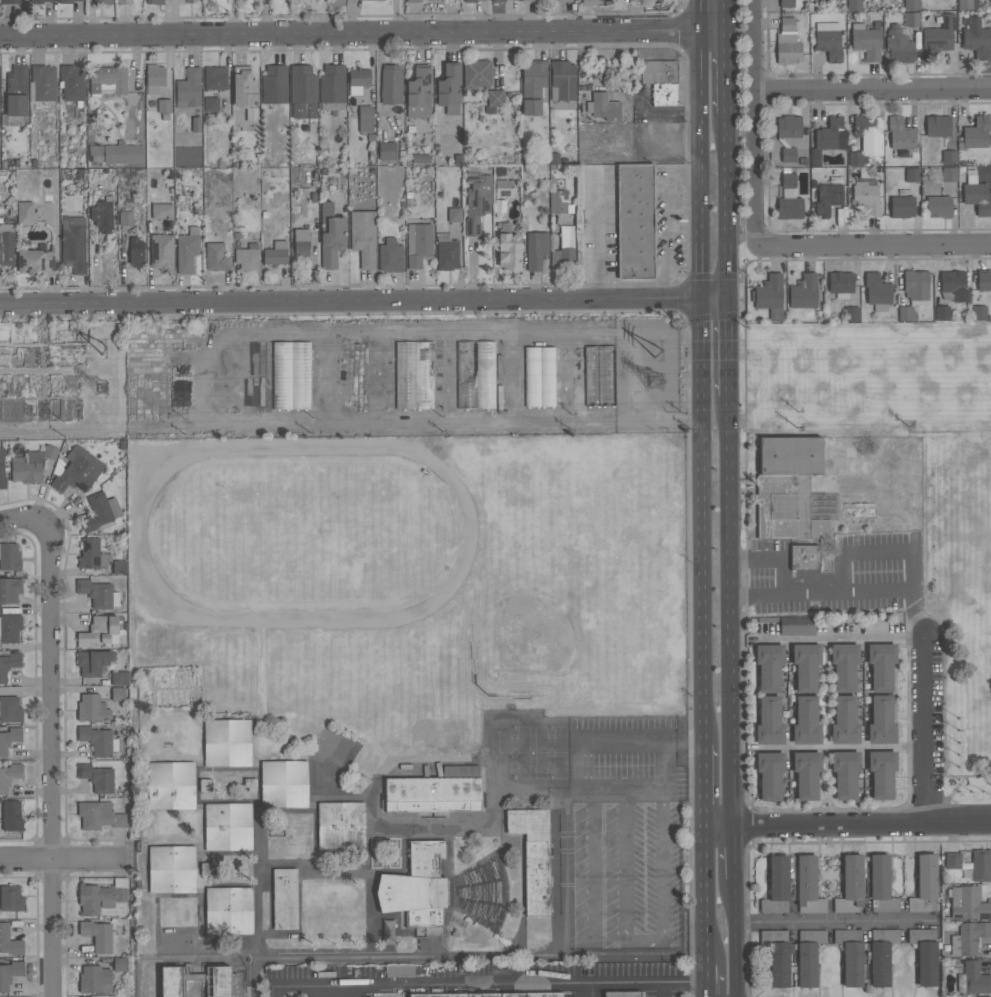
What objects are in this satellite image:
building: (380, 0)
building: (436, 0)
building: (498, 0)
building: (529, 0)
building: (564, 0)
building: (832, 0)
building: (11, 1)
building: (39, 1)
building: (65, 1)
building: (189, 1)
building: (413, 1)
building: (470, 1)
building: (102, 2)
building: (124, 2)
building: (155, 2)
building: (589, 2)
building: (786, 3)
building: (911, 4)
building: (967, 4)
road: (726, 16)
building: (911, 19)
building: (788, 24)
road: (362, 34)
building: (938, 36)
building: (976, 37)
building: (828, 40)
building: (866, 41)
building: (898, 45)
building: (787, 47)
road: (726, 72)
building: (476, 73)
road: (843, 74)
building: (154, 78)
building: (215, 78)
building: (107, 80)
building: (358, 80)
building: (660, 80)
building: (42, 83)
building: (72, 83)
building: (274, 84)
building: (391, 84)
building: (563, 84)
road: (700, 84)
building: (533, 85)
road: (870, 85)
building: (244, 87)
building: (332, 87)
building: (188, 88)
building: (449, 88)
building: (16, 90)
building: (303, 91)
building: (418, 93)
building: (495, 97)
building: (211, 104)
building: (164, 106)
building: (603, 107)
building: (251, 114)
building: (365, 119)
road: (751, 123)
building: (195, 124)
building: (937, 125)
building: (788, 126)
building: (976, 132)
building: (868, 133)
building: (900, 133)
building: (805, 138)
building: (828, 139)
building: (386, 151)
building: (123, 153)
building: (788, 154)
building: (949, 157)
building: (856, 158)
building: (912, 174)
building: (948, 174)
building: (504, 188)
building: (975, 193)
building: (789, 196)
building: (828, 196)
building: (866, 196)
building: (477, 199)
building: (558, 201)
road: (727, 206)
building: (902, 206)
building: (938, 206)
building: (162, 210)
building: (25, 213)
building: (454, 215)
building: (102, 216)
building: (126, 218)
building: (635, 221)
road: (671, 222)
road: (701, 234)
building: (331, 235)
road: (598, 236)
building: (363, 237)
building: (301, 242)
building: (6, 244)
building: (73, 244)
building: (418, 244)
road: (874, 244)
building: (564, 247)
building: (536, 249)
building: (187, 250)
building: (136, 251)
building: (161, 251)
building: (509, 251)
building: (275, 253)
building: (246, 254)
building: (447, 254)
building: (390, 255)
building: (216, 257)
building: (35, 262)
building: (984, 279)
building: (840, 283)
building: (916, 286)
building: (953, 286)
building: (877, 291)
building: (803, 292)
building: (769, 296)
road: (687, 300)
traffic signals: (703, 300)
road: (716, 300)
road: (335, 301)
traffic signals: (729, 301)
building: (979, 312)
road: (343, 313)
building: (906, 313)
building: (942, 313)
building: (851, 314)
road: (713, 316)
power tower: (105, 347)
road: (729, 347)
power tower: (659, 348)
road: (330, 372)
building: (291, 375)
building: (414, 375)
building: (476, 375)
building: (539, 377)
power tower: (659, 381)
power tower: (102, 389)
building: (31, 464)
building: (2, 468)
building: (75, 470)
building: (792, 491)
park: (879, 495)
building: (100, 511)
road: (729, 518)
road: (704, 521)
road: (22, 525)
building: (92, 554)
building: (10, 557)
building: (804, 557)
road: (772, 558)
building: (9, 589)
road: (895, 592)
building: (98, 593)
road: (742, 606)
building: (9, 628)
building: (795, 629)
building: (100, 631)
road: (840, 639)
road: (896, 660)
building: (93, 661)
building: (9, 664)
building: (881, 665)
building: (805, 666)
building: (844, 666)
building: (769, 667)
building: (119, 678)
building: (118, 693)
road: (895, 700)
road: (825, 704)
building: (92, 708)
building: (10, 709)
building: (806, 721)
building: (844, 721)
building: (881, 721)
building: (769, 722)
road: (899, 731)
road: (931, 731)
road: (945, 731)
road: (730, 736)
building: (9, 738)
road: (641, 738)
building: (99, 740)
building: (226, 742)
road: (846, 747)
road: (48, 760)
road: (898, 769)
building: (845, 773)
building: (881, 773)
building: (806, 774)
building: (9, 775)
building: (769, 775)
road: (978, 776)
building: (97, 777)
building: (284, 784)
building: (171, 785)
road: (706, 786)
road: (901, 787)
road: (647, 788)
building: (435, 790)
road: (820, 790)
road: (831, 791)
road: (753, 797)
building: (11, 815)
building: (98, 815)
building: (227, 826)
building: (340, 826)
road: (848, 826)
road: (733, 853)
building: (533, 855)
road: (58, 859)
road: (592, 859)
building: (952, 860)
building: (980, 864)
building: (172, 869)
building: (924, 884)
building: (808, 885)
building: (850, 885)
building: (880, 885)
building: (416, 886)
building: (777, 886)
building: (101, 895)
road: (709, 896)
building: (11, 898)
building: (284, 899)
building: (968, 903)
building: (228, 910)
road: (839, 921)
building: (97, 935)
road: (737, 937)
building: (969, 937)
road: (645, 938)
building: (9, 941)
building: (850, 955)
building: (881, 955)
building: (924, 955)
building: (808, 956)
building: (119, 964)
building: (778, 964)
building: (399, 971)
building: (9, 973)
building: (95, 979)
building: (973, 979)
road: (711, 980)
road: (486, 983)
building: (218, 988)
road: (662, 989)
building: (487, 994)
building: (622, 994)
building: (983, 996)

